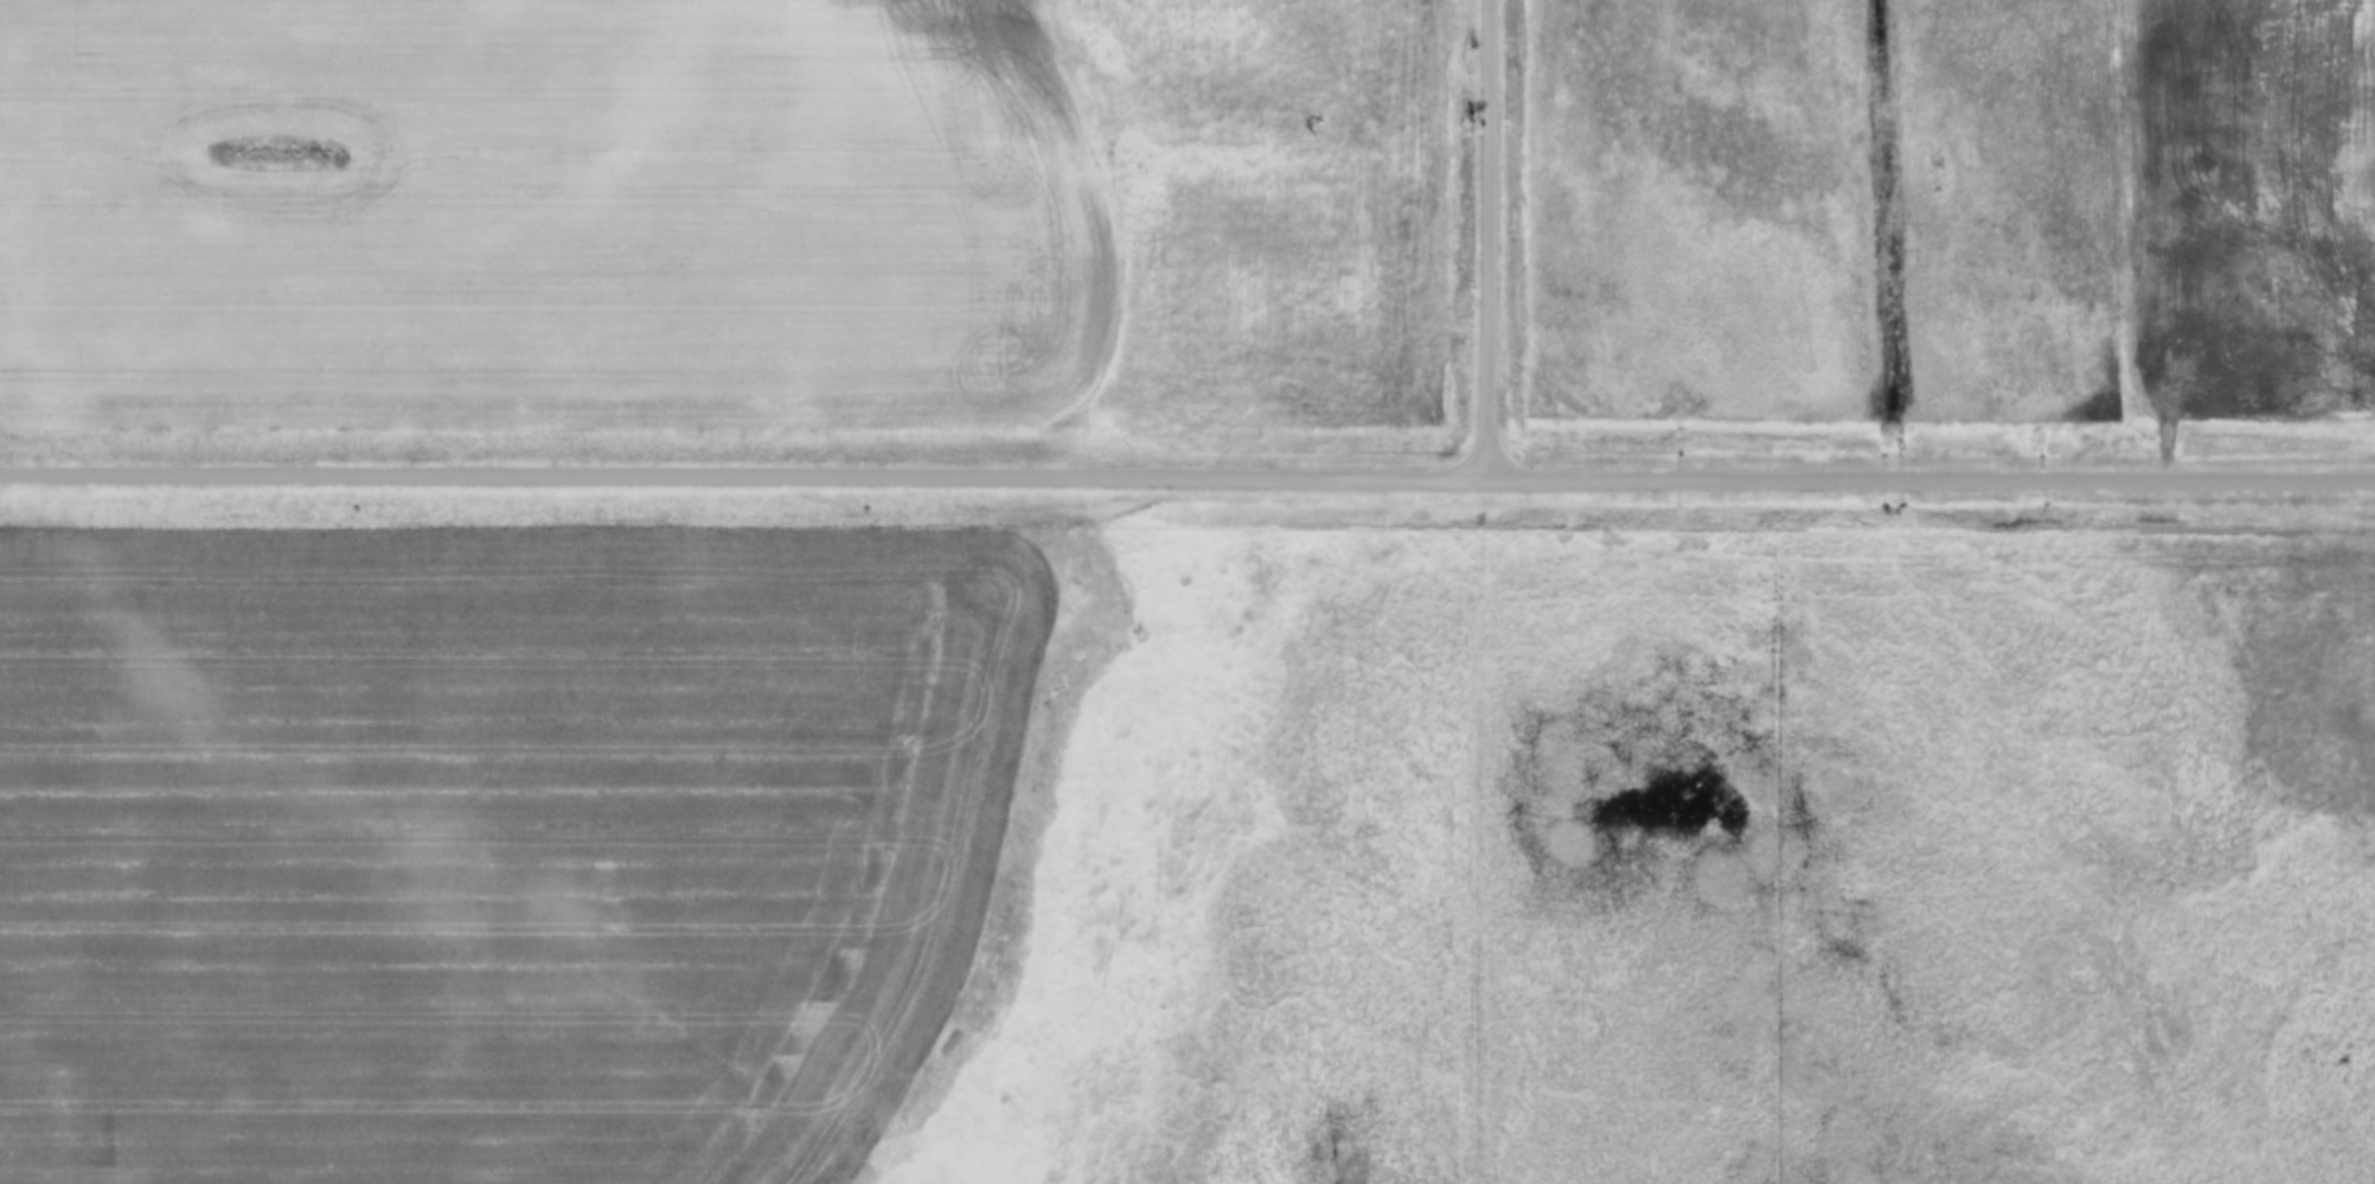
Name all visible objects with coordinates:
road: (1489, 241)
road: (1186, 480)

